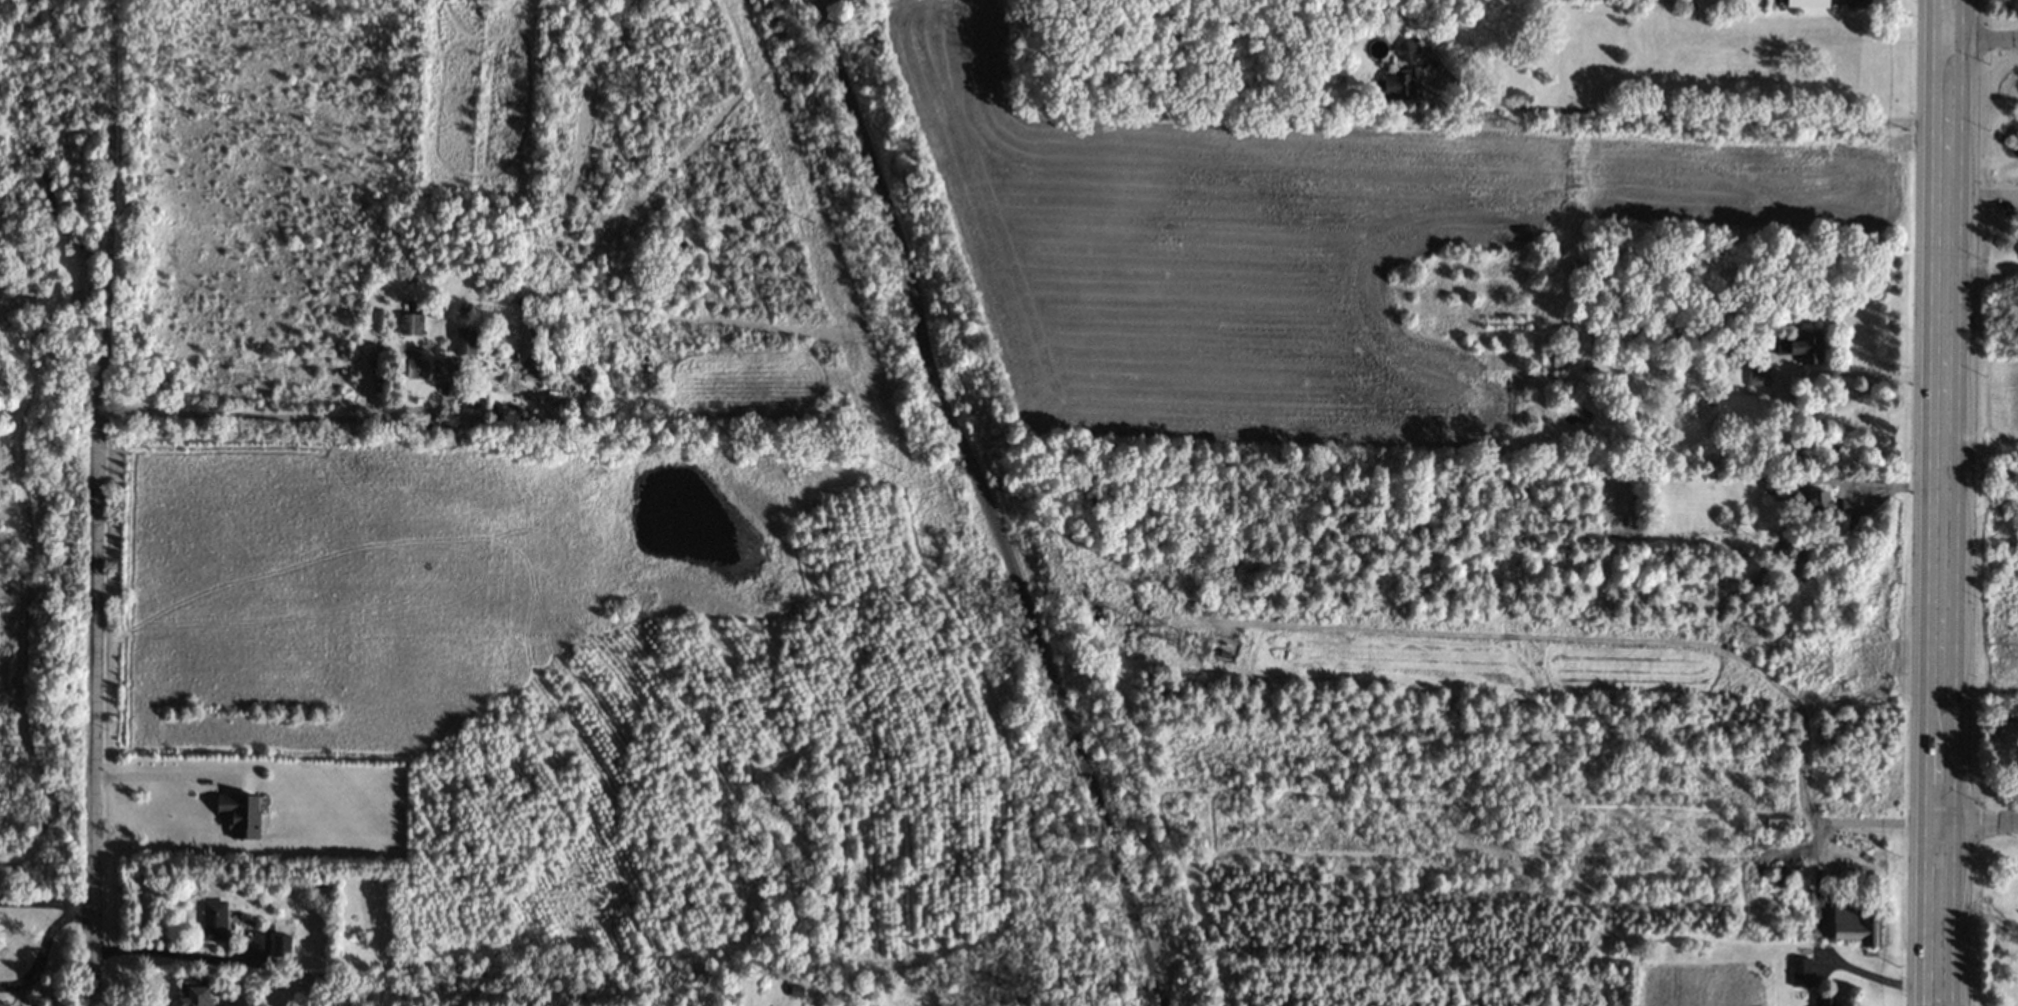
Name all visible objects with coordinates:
building: (1807, 3)
building: (1856, 3)
road: (819, 6)
road: (1947, 15)
road: (1982, 29)
building: (1406, 50)
building: (1396, 86)
road: (1684, 118)
road: (108, 204)
crop: (1302, 246)
road: (1944, 283)
building: (410, 324)
building: (464, 341)
building: (1806, 346)
building: (428, 368)
building: (1758, 372)
road: (270, 416)
road: (1980, 464)
building: (1772, 483)
building: (1818, 499)
road: (984, 502)
power tower: (937, 564)
power tower: (1195, 647)
road: (95, 707)
road: (1939, 771)
road: (153, 777)
road: (1978, 817)
road: (1877, 823)
road: (37, 902)
road: (83, 904)
building: (214, 920)
building: (1854, 926)
building: (280, 945)
road: (40, 951)
road: (173, 955)
building: (1800, 972)
road: (1878, 978)
building: (193, 993)
building: (1823, 1002)
building: (3, 1004)

